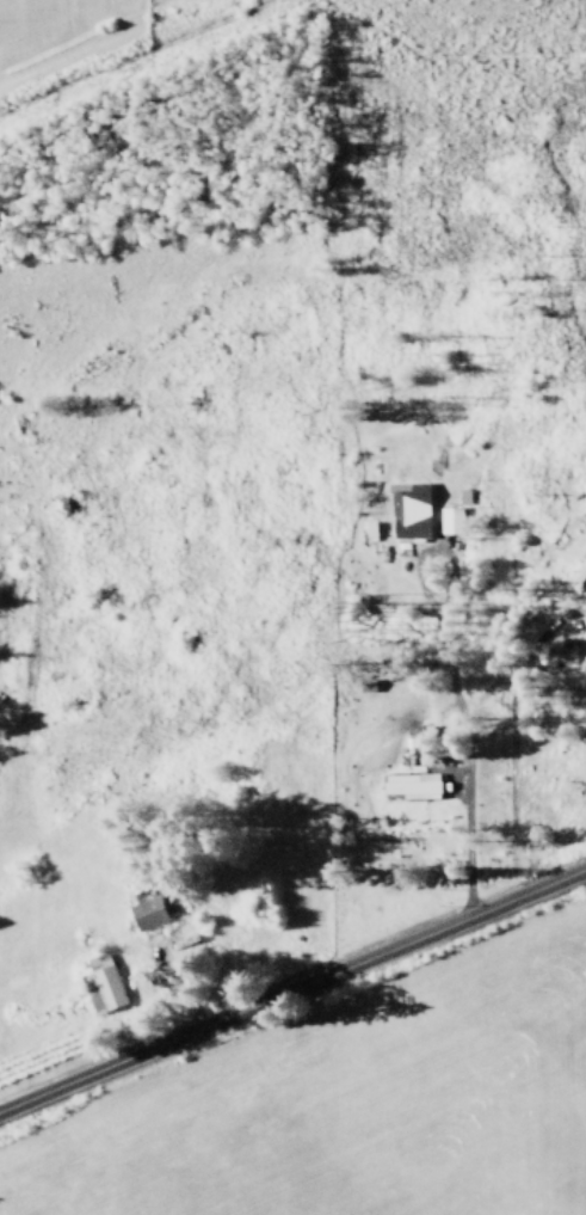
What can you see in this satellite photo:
building: (409, 508)
building: (449, 518)
building: (579, 570)
building: (585, 627)
building: (365, 683)
building: (412, 784)
building: (147, 912)
building: (105, 980)
road: (292, 986)

